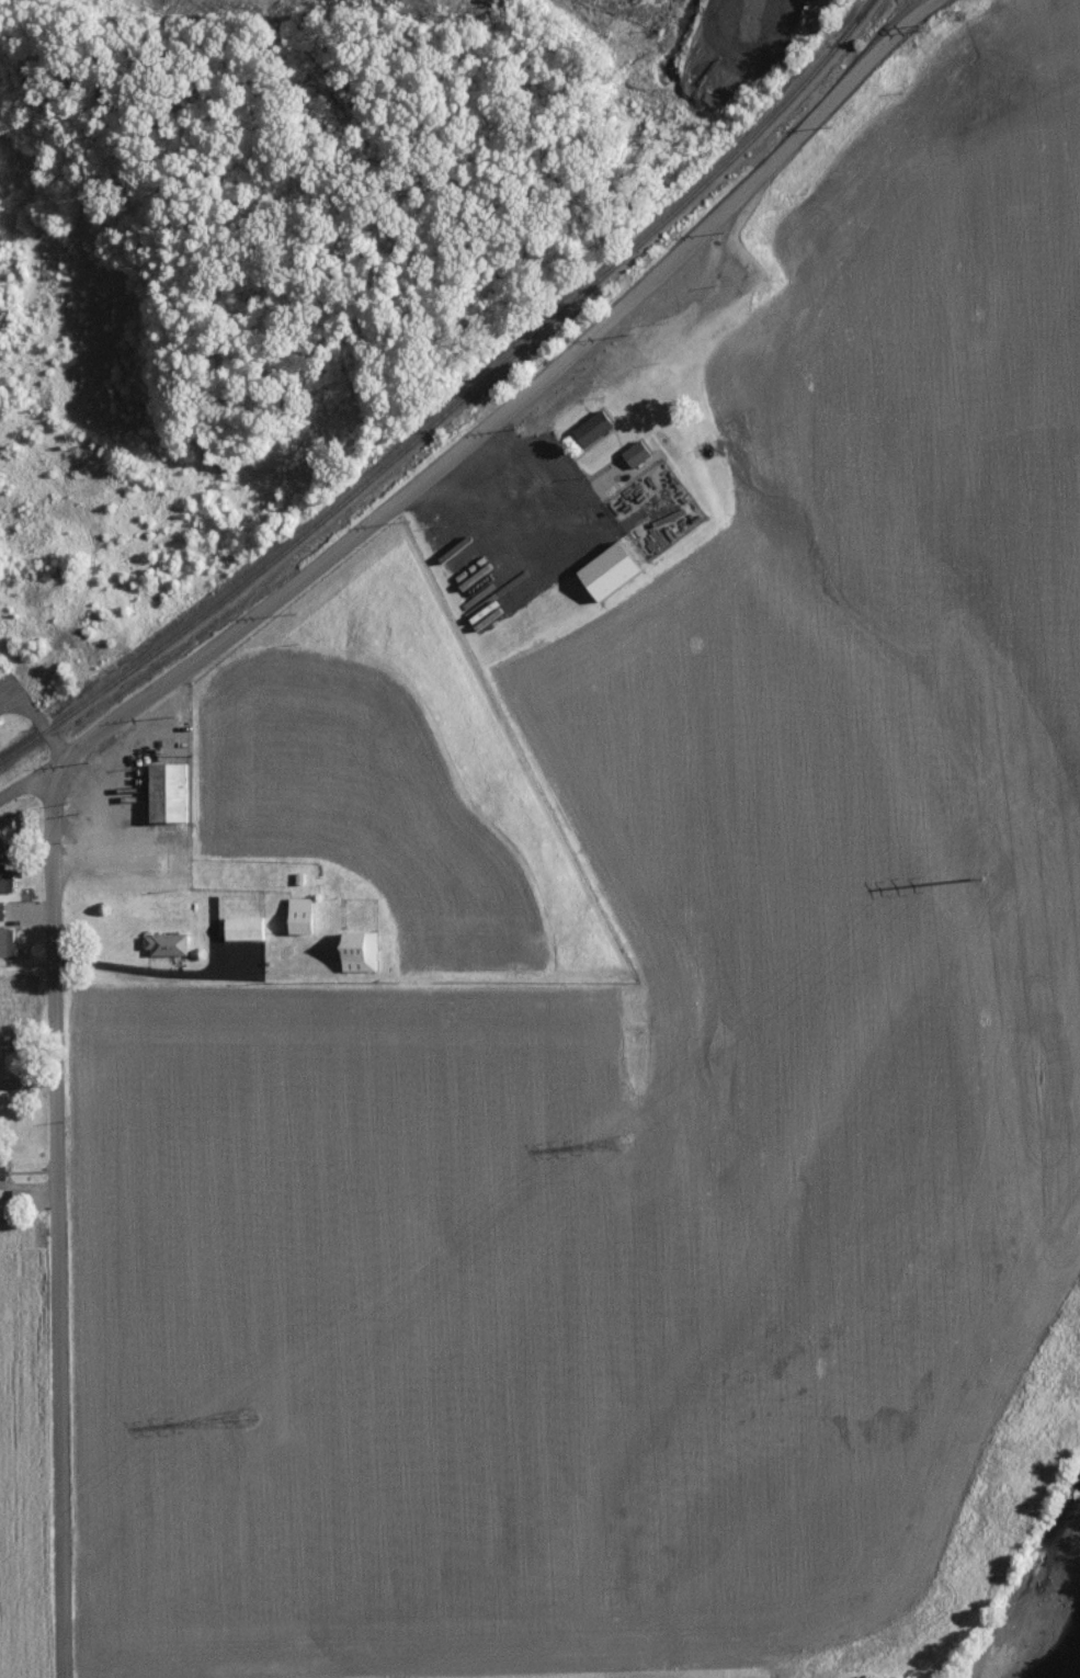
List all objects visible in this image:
road: (576, 348)
railway: (454, 401)
building: (587, 428)
building: (630, 454)
road: (532, 465)
building: (601, 570)
road: (121, 711)
road: (32, 716)
road: (29, 775)
road: (102, 779)
road: (76, 780)
building: (161, 792)
power tower: (994, 849)
building: (3, 881)
building: (294, 915)
building: (239, 928)
building: (3, 941)
building: (160, 943)
building: (352, 951)
road: (207, 972)
power tower: (615, 1134)
road: (55, 1217)
power tower: (258, 1402)
river: (1050, 1640)

